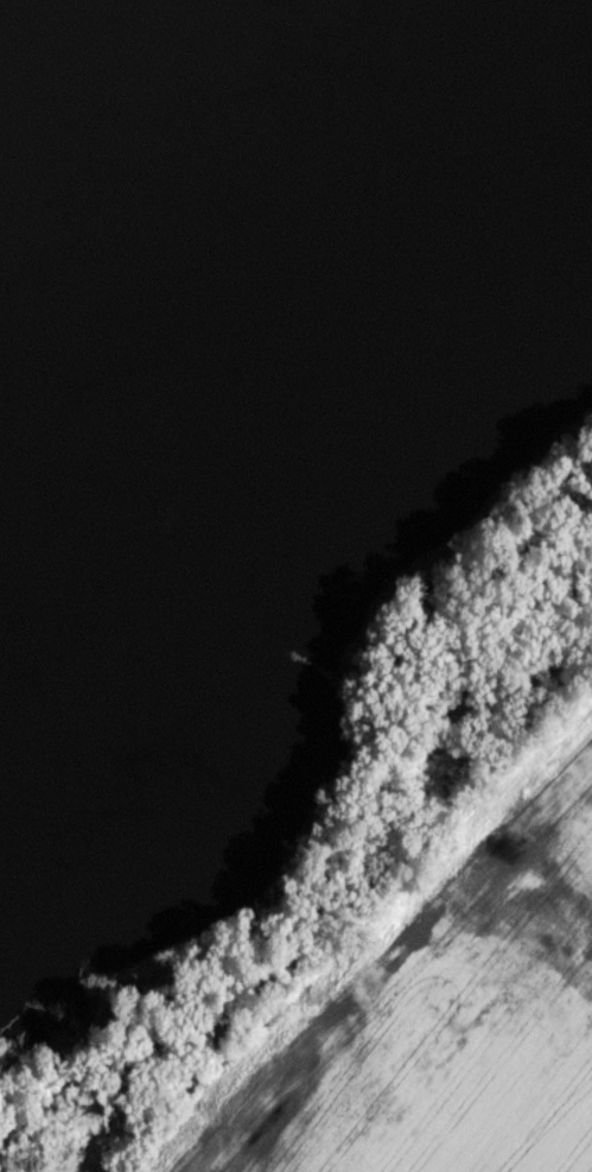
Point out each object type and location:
river: (128, 120)
crop: (463, 1018)

